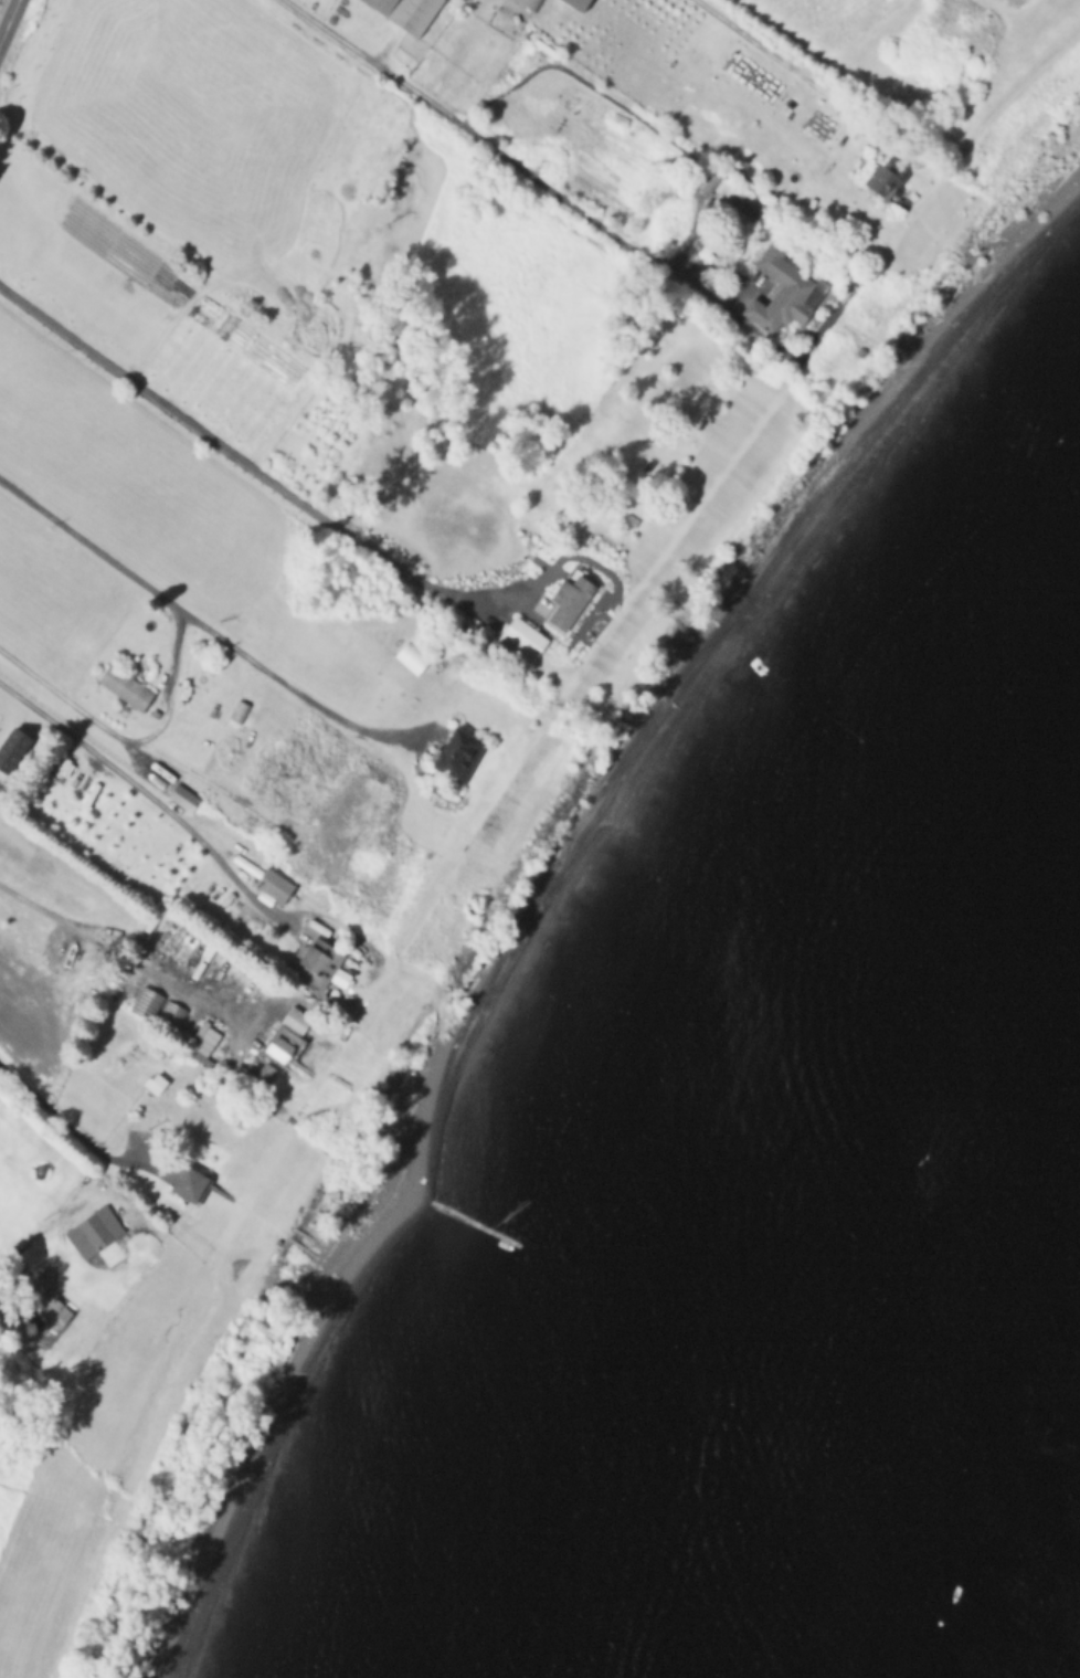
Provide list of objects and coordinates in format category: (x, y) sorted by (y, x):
building: (529, 3)
building: (575, 3)
building: (411, 12)
road: (9, 20)
crop: (911, 35)
road: (775, 55)
road: (525, 165)
building: (880, 179)
building: (737, 196)
building: (786, 294)
road: (251, 465)
building: (563, 566)
building: (572, 602)
road: (197, 622)
building: (525, 640)
building: (410, 657)
building: (127, 688)
building: (241, 711)
road: (126, 739)
building: (14, 743)
building: (462, 753)
road: (155, 795)
building: (182, 795)
building: (277, 885)
road: (121, 951)
building: (324, 956)
building: (157, 1007)
building: (286, 1034)
building: (201, 1041)
building: (264, 1072)
building: (158, 1079)
road: (65, 1123)
building: (194, 1178)
building: (96, 1230)
road: (35, 1233)
building: (57, 1308)

